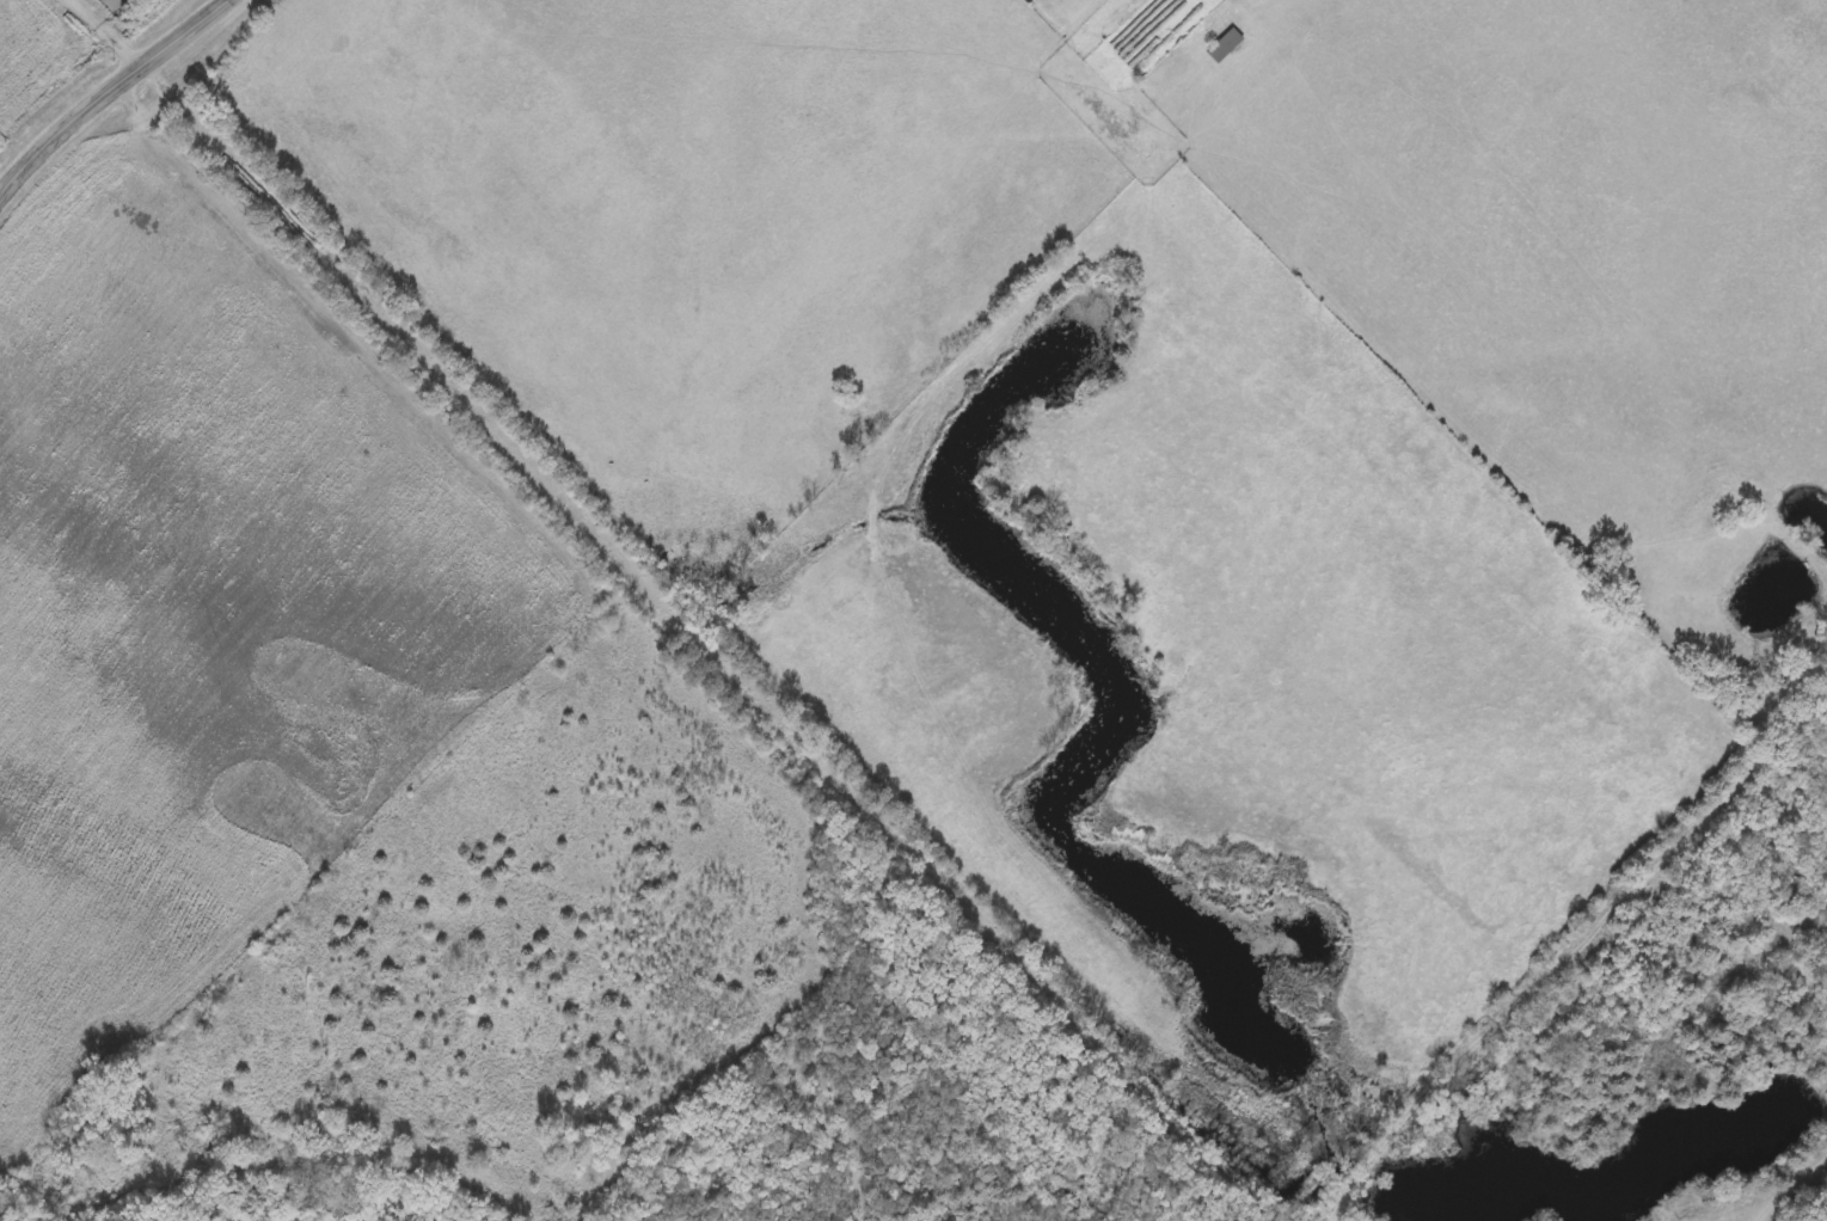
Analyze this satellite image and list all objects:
building: (1224, 42)
building: (1164, 68)
road: (116, 99)
road: (660, 601)
road: (1575, 958)
road: (1786, 1180)

